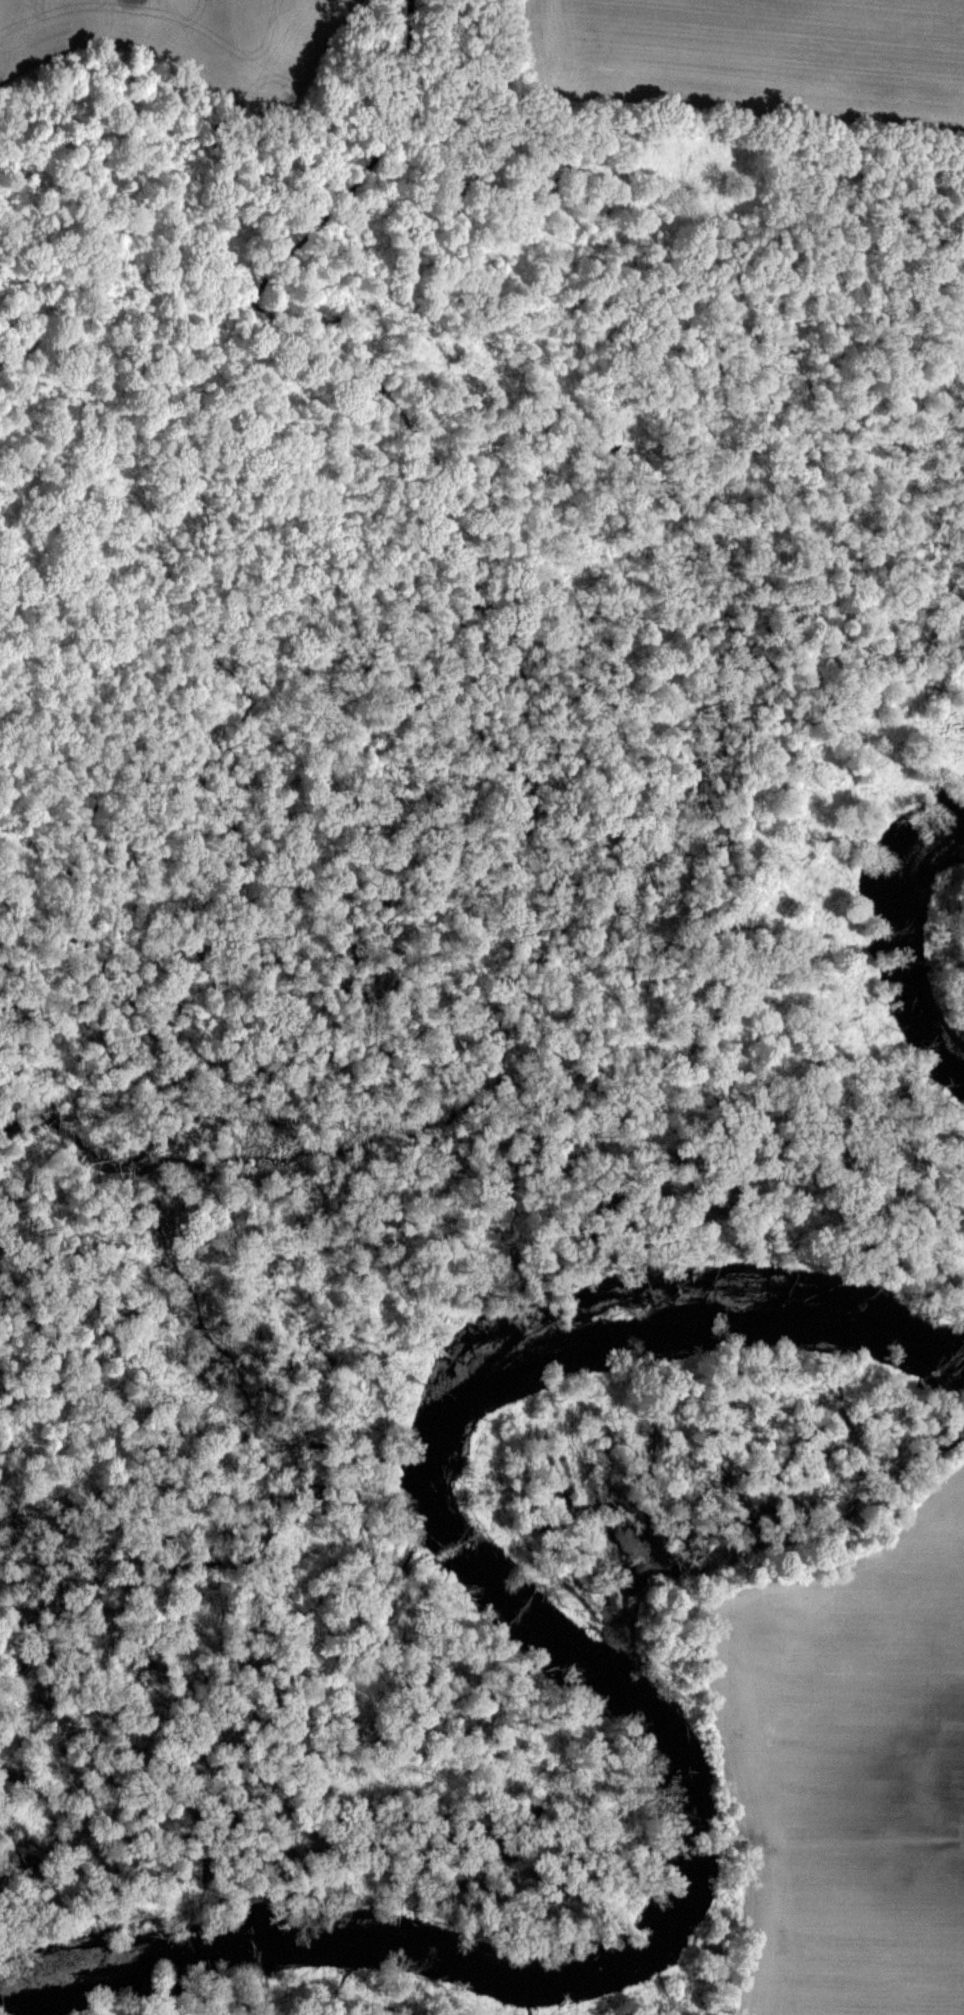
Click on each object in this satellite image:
river: (887, 939)
river: (634, 1698)

